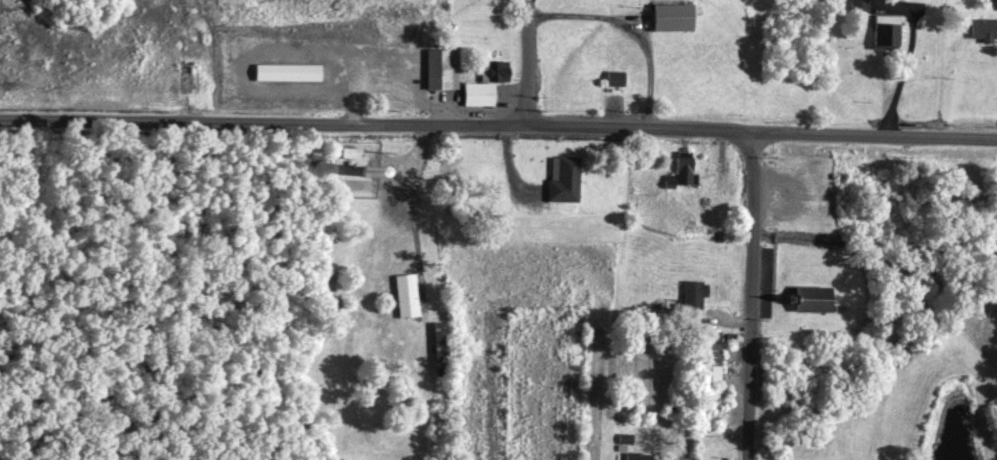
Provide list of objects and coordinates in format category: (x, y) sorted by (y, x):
building: (852, 7)
building: (666, 21)
building: (980, 33)
building: (879, 36)
road: (527, 61)
building: (487, 75)
building: (281, 76)
building: (609, 83)
building: (472, 98)
road: (498, 121)
building: (675, 175)
building: (557, 183)
road: (751, 294)
building: (688, 298)
building: (400, 299)
building: (805, 303)
building: (432, 343)
building: (707, 361)
building: (628, 459)

